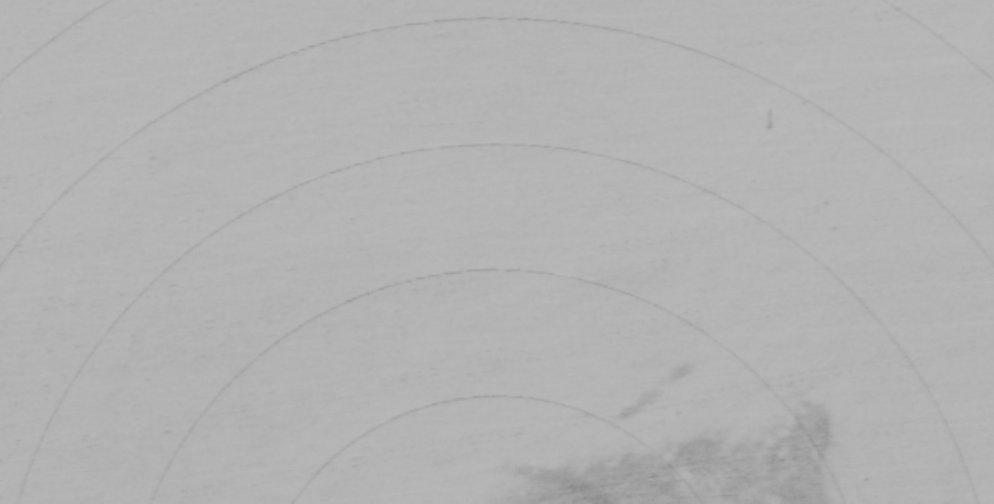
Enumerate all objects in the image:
crop: (497, 252)

